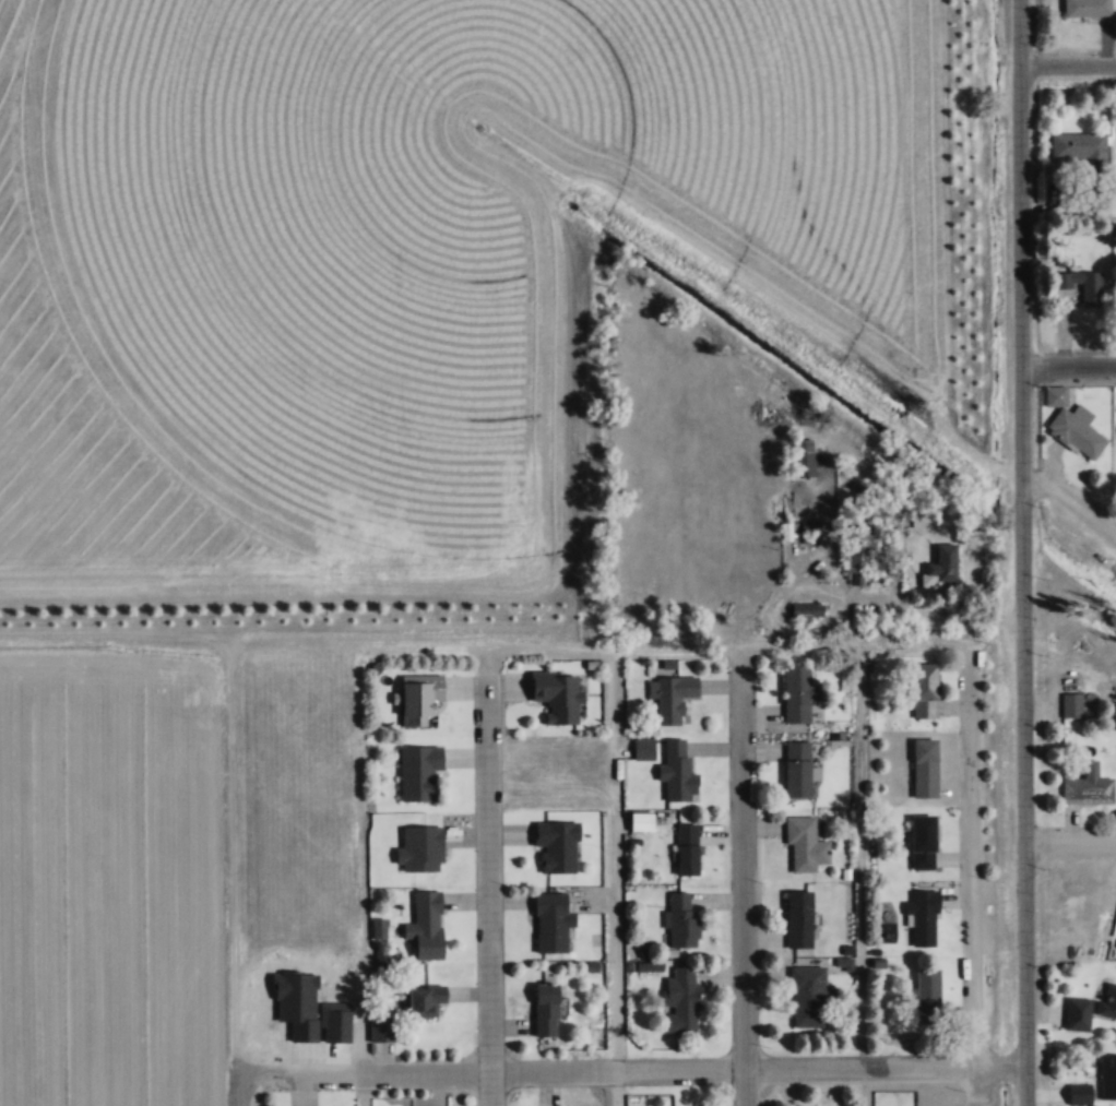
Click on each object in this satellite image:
building: (1085, 8)
road: (1069, 64)
building: (1078, 145)
building: (1082, 284)
road: (1071, 366)
building: (1076, 430)
building: (807, 464)
road: (1072, 495)
building: (810, 524)
road: (1026, 552)
building: (941, 564)
road: (601, 647)
building: (924, 690)
building: (797, 693)
building: (557, 694)
building: (672, 698)
building: (418, 699)
building: (1070, 704)
building: (643, 748)
building: (924, 768)
building: (796, 769)
building: (677, 771)
building: (417, 772)
building: (1088, 786)
building: (640, 821)
road: (1072, 840)
building: (923, 842)
building: (804, 844)
building: (557, 846)
building: (687, 848)
building: (419, 849)
road: (492, 875)
road: (865, 875)
road: (234, 876)
road: (359, 876)
road: (621, 877)
road: (748, 877)
road: (977, 878)
building: (922, 917)
building: (798, 918)
building: (681, 919)
building: (551, 921)
building: (425, 925)
building: (808, 996)
building: (927, 996)
building: (681, 1000)
building: (1109, 1000)
building: (424, 1001)
building: (545, 1008)
building: (1078, 1013)
building: (381, 1028)
road: (632, 1070)
building: (1107, 1077)
building: (1079, 1094)

